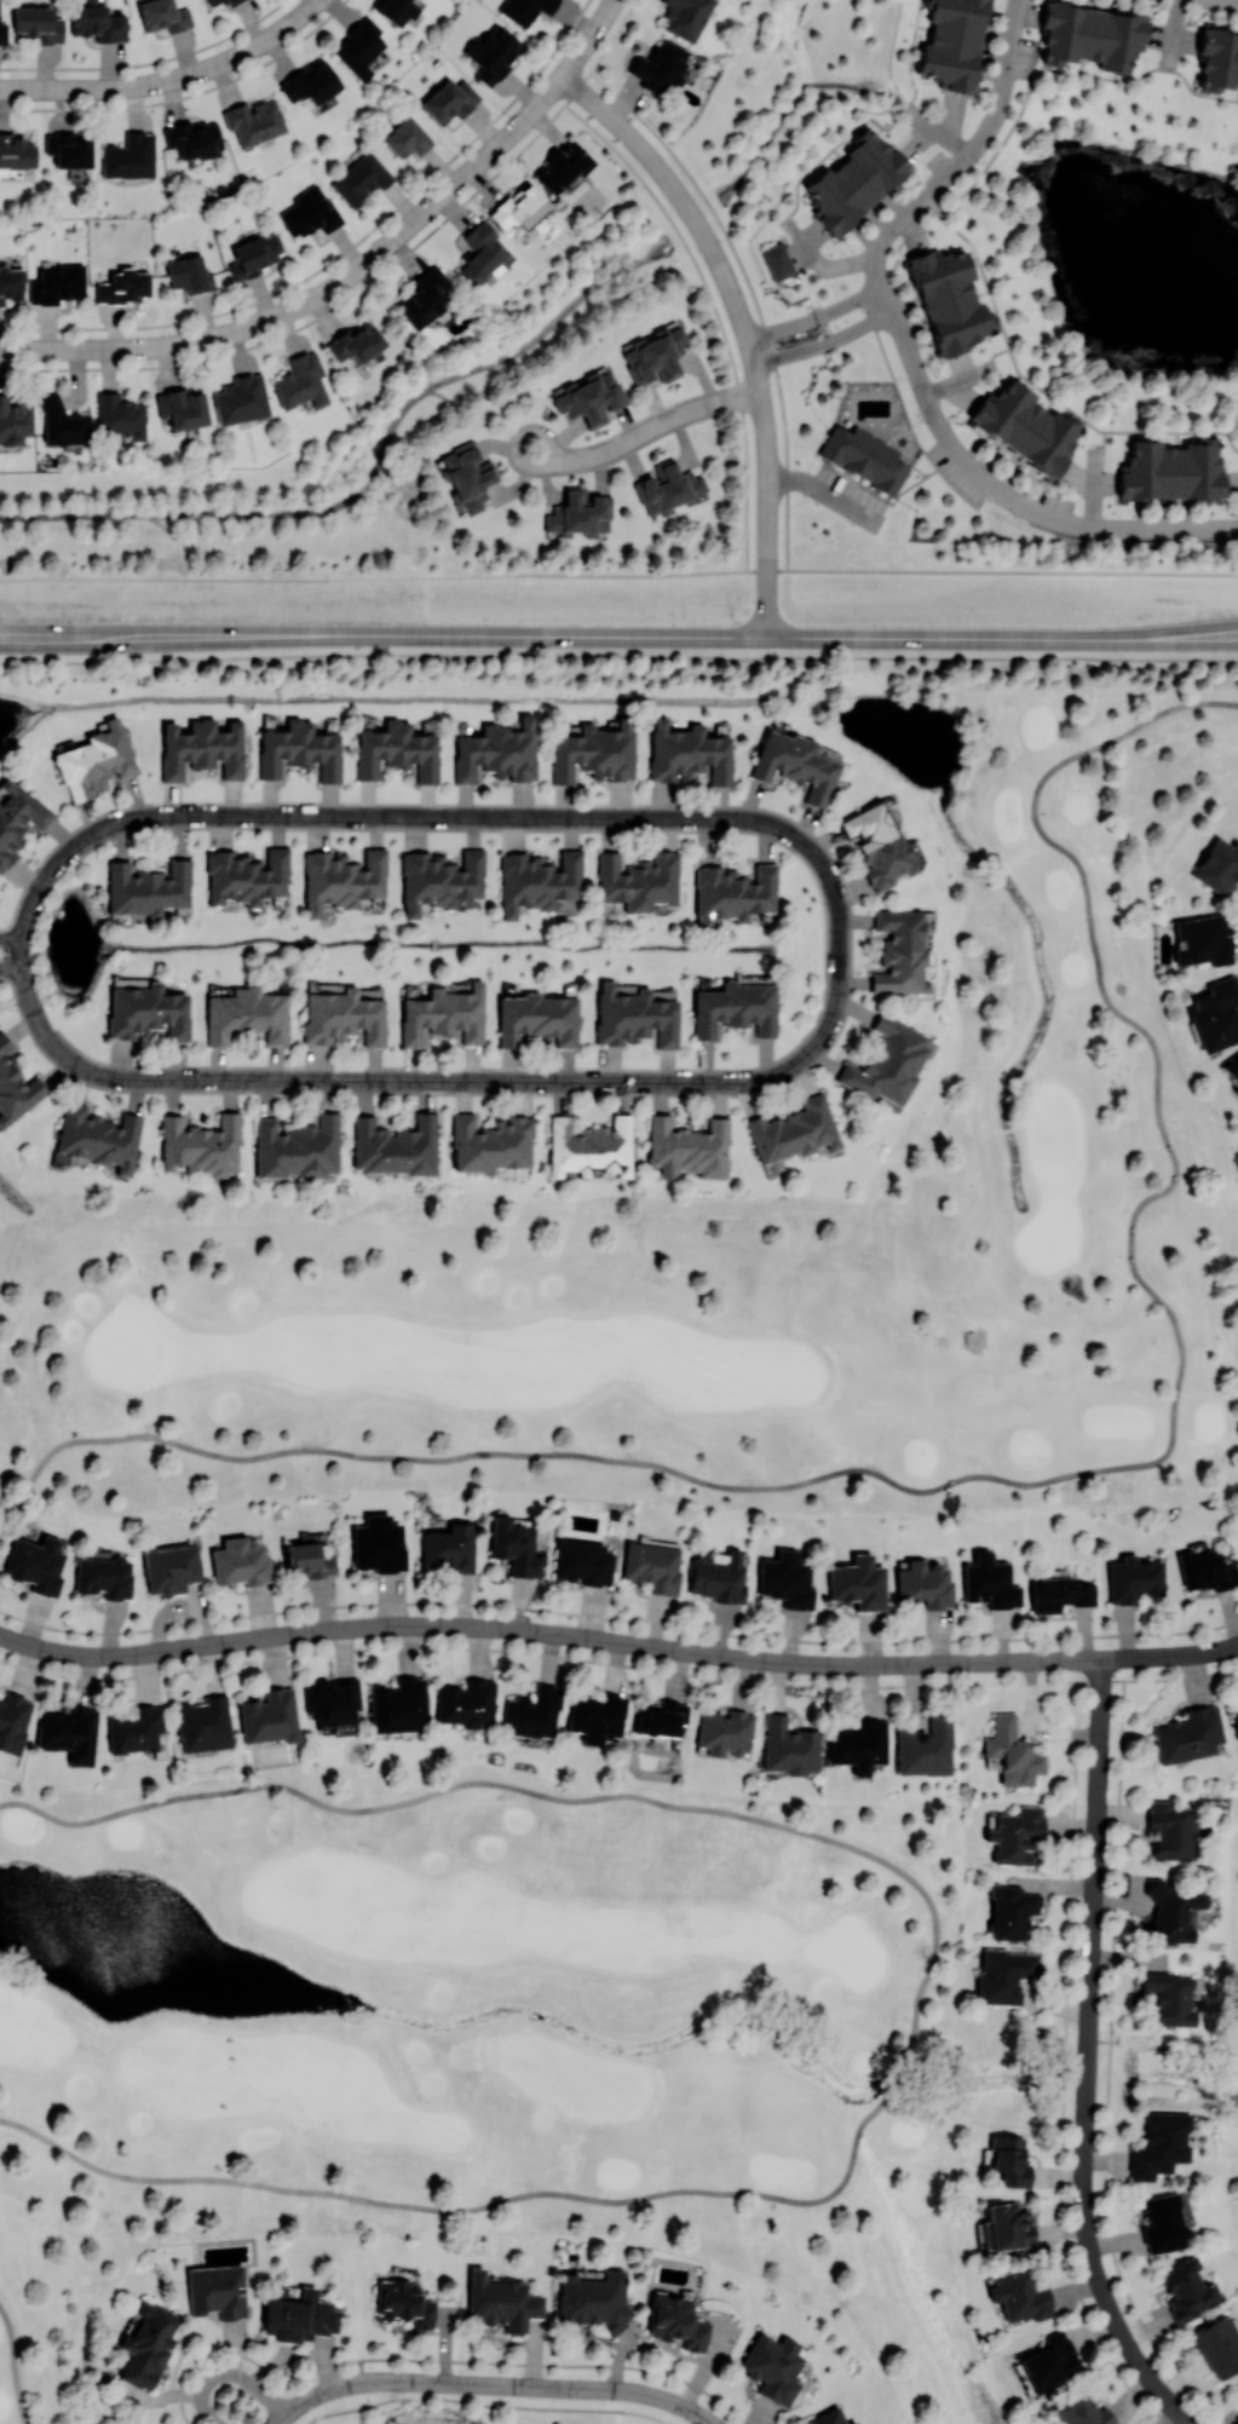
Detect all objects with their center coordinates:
road: (1233, 0)
building: (212, 1)
building: (231, 2)
building: (525, 10)
building: (393, 11)
building: (163, 16)
building: (685, 17)
building: (39, 23)
building: (98, 23)
building: (2, 33)
building: (1092, 33)
building: (952, 41)
building: (358, 47)
building: (493, 53)
building: (1217, 57)
building: (661, 67)
road: (169, 80)
building: (310, 82)
building: (449, 100)
building: (254, 120)
building: (194, 138)
building: (405, 138)
building: (67, 150)
building: (15, 151)
building: (128, 156)
building: (563, 166)
building: (361, 178)
building: (853, 180)
building: (520, 209)
building: (309, 212)
road: (949, 224)
building: (254, 254)
building: (479, 254)
building: (777, 261)
road: (357, 270)
building: (189, 275)
building: (57, 283)
building: (123, 286)
building: (951, 296)
building: (422, 298)
road: (813, 316)
road: (743, 326)
building: (353, 342)
road: (823, 342)
building: (655, 356)
road: (908, 357)
building: (300, 381)
building: (589, 397)
building: (240, 399)
building: (182, 408)
building: (119, 418)
building: (13, 421)
building: (62, 424)
building: (1025, 426)
road: (645, 432)
building: (865, 457)
building: (1173, 473)
building: (467, 476)
building: (667, 486)
road: (824, 491)
building: (578, 513)
road: (618, 575)
road: (1173, 632)
road: (553, 635)
road: (1171, 641)
road: (618, 655)
building: (201, 749)
building: (298, 750)
building: (396, 752)
building: (496, 752)
building: (592, 752)
building: (687, 753)
building: (94, 760)
building: (795, 765)
road: (433, 817)
building: (17, 818)
building: (876, 842)
building: (1217, 865)
building: (246, 876)
building: (341, 879)
building: (439, 880)
building: (638, 880)
building: (148, 888)
building: (733, 892)
road: (10, 938)
building: (1202, 940)
building: (899, 951)
road: (10, 969)
building: (735, 1008)
building: (148, 1009)
building: (443, 1014)
building: (1216, 1014)
building: (244, 1015)
building: (635, 1017)
building: (537, 1019)
building: (887, 1061)
building: (1232, 1072)
road: (437, 1079)
building: (15, 1087)
building: (794, 1130)
building: (98, 1138)
building: (490, 1144)
building: (200, 1145)
building: (395, 1146)
building: (296, 1147)
building: (591, 1147)
building: (687, 1147)
park: (741, 1226)
road: (1044, 1481)
building: (1237, 1537)
building: (378, 1543)
building: (449, 1547)
building: (514, 1547)
building: (309, 1559)
building: (241, 1561)
building: (582, 1562)
building: (35, 1564)
building: (651, 1566)
building: (171, 1568)
building: (1205, 1570)
building: (104, 1577)
building: (718, 1577)
building: (1133, 1578)
building: (784, 1579)
building: (989, 1582)
building: (857, 1583)
building: (922, 1583)
building: (1059, 1594)
road: (549, 1633)
road: (1170, 1654)
building: (332, 1700)
building: (466, 1703)
building: (397, 1705)
building: (532, 1712)
building: (269, 1716)
building: (595, 1716)
building: (660, 1717)
building: (13, 1721)
building: (1234, 1722)
building: (203, 1725)
building: (137, 1731)
building: (69, 1733)
building: (724, 1733)
building: (1187, 1735)
building: (859, 1745)
building: (789, 1746)
building: (925, 1746)
building: (1012, 1752)
road: (558, 1798)
building: (1170, 1830)
building: (1014, 1835)
building: (1010, 1911)
building: (1170, 1912)
building: (1004, 1975)
building: (1169, 1998)
road: (375, 2009)
road: (495, 2010)
park: (517, 2040)
road: (1088, 2055)
road: (886, 2078)
building: (1159, 2144)
building: (1008, 2161)
road: (472, 2209)
building: (1162, 2223)
building: (1007, 2228)
building: (1186, 2290)
building: (215, 2292)
building: (1020, 2295)
building: (404, 2299)
building: (593, 2299)
building: (501, 2302)
building: (299, 2316)
building: (676, 2320)
building: (146, 2343)
building: (1216, 2344)
building: (1049, 2361)
road: (13, 2365)
building: (772, 2367)
road: (230, 2373)
road: (493, 2385)
park: (460, 2405)
building: (1083, 2412)
building: (827, 2417)
building: (852, 2422)

